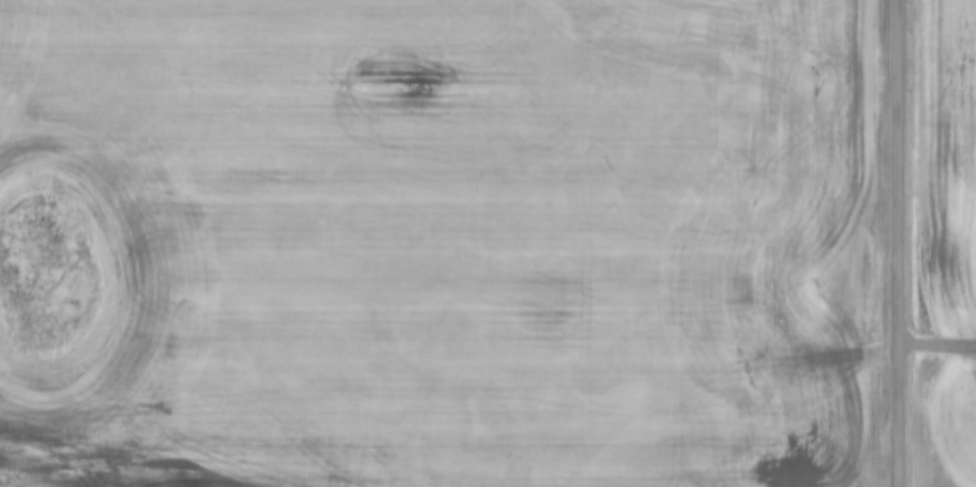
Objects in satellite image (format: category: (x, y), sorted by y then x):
road: (897, 243)
road: (936, 341)

